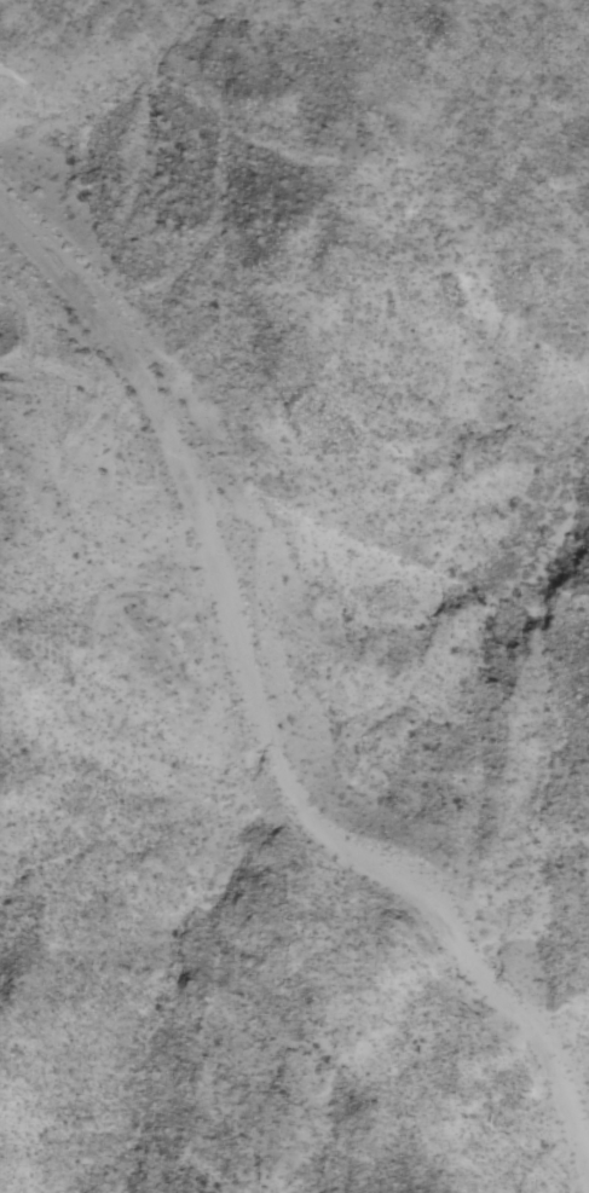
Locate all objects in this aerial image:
road: (264, 724)

